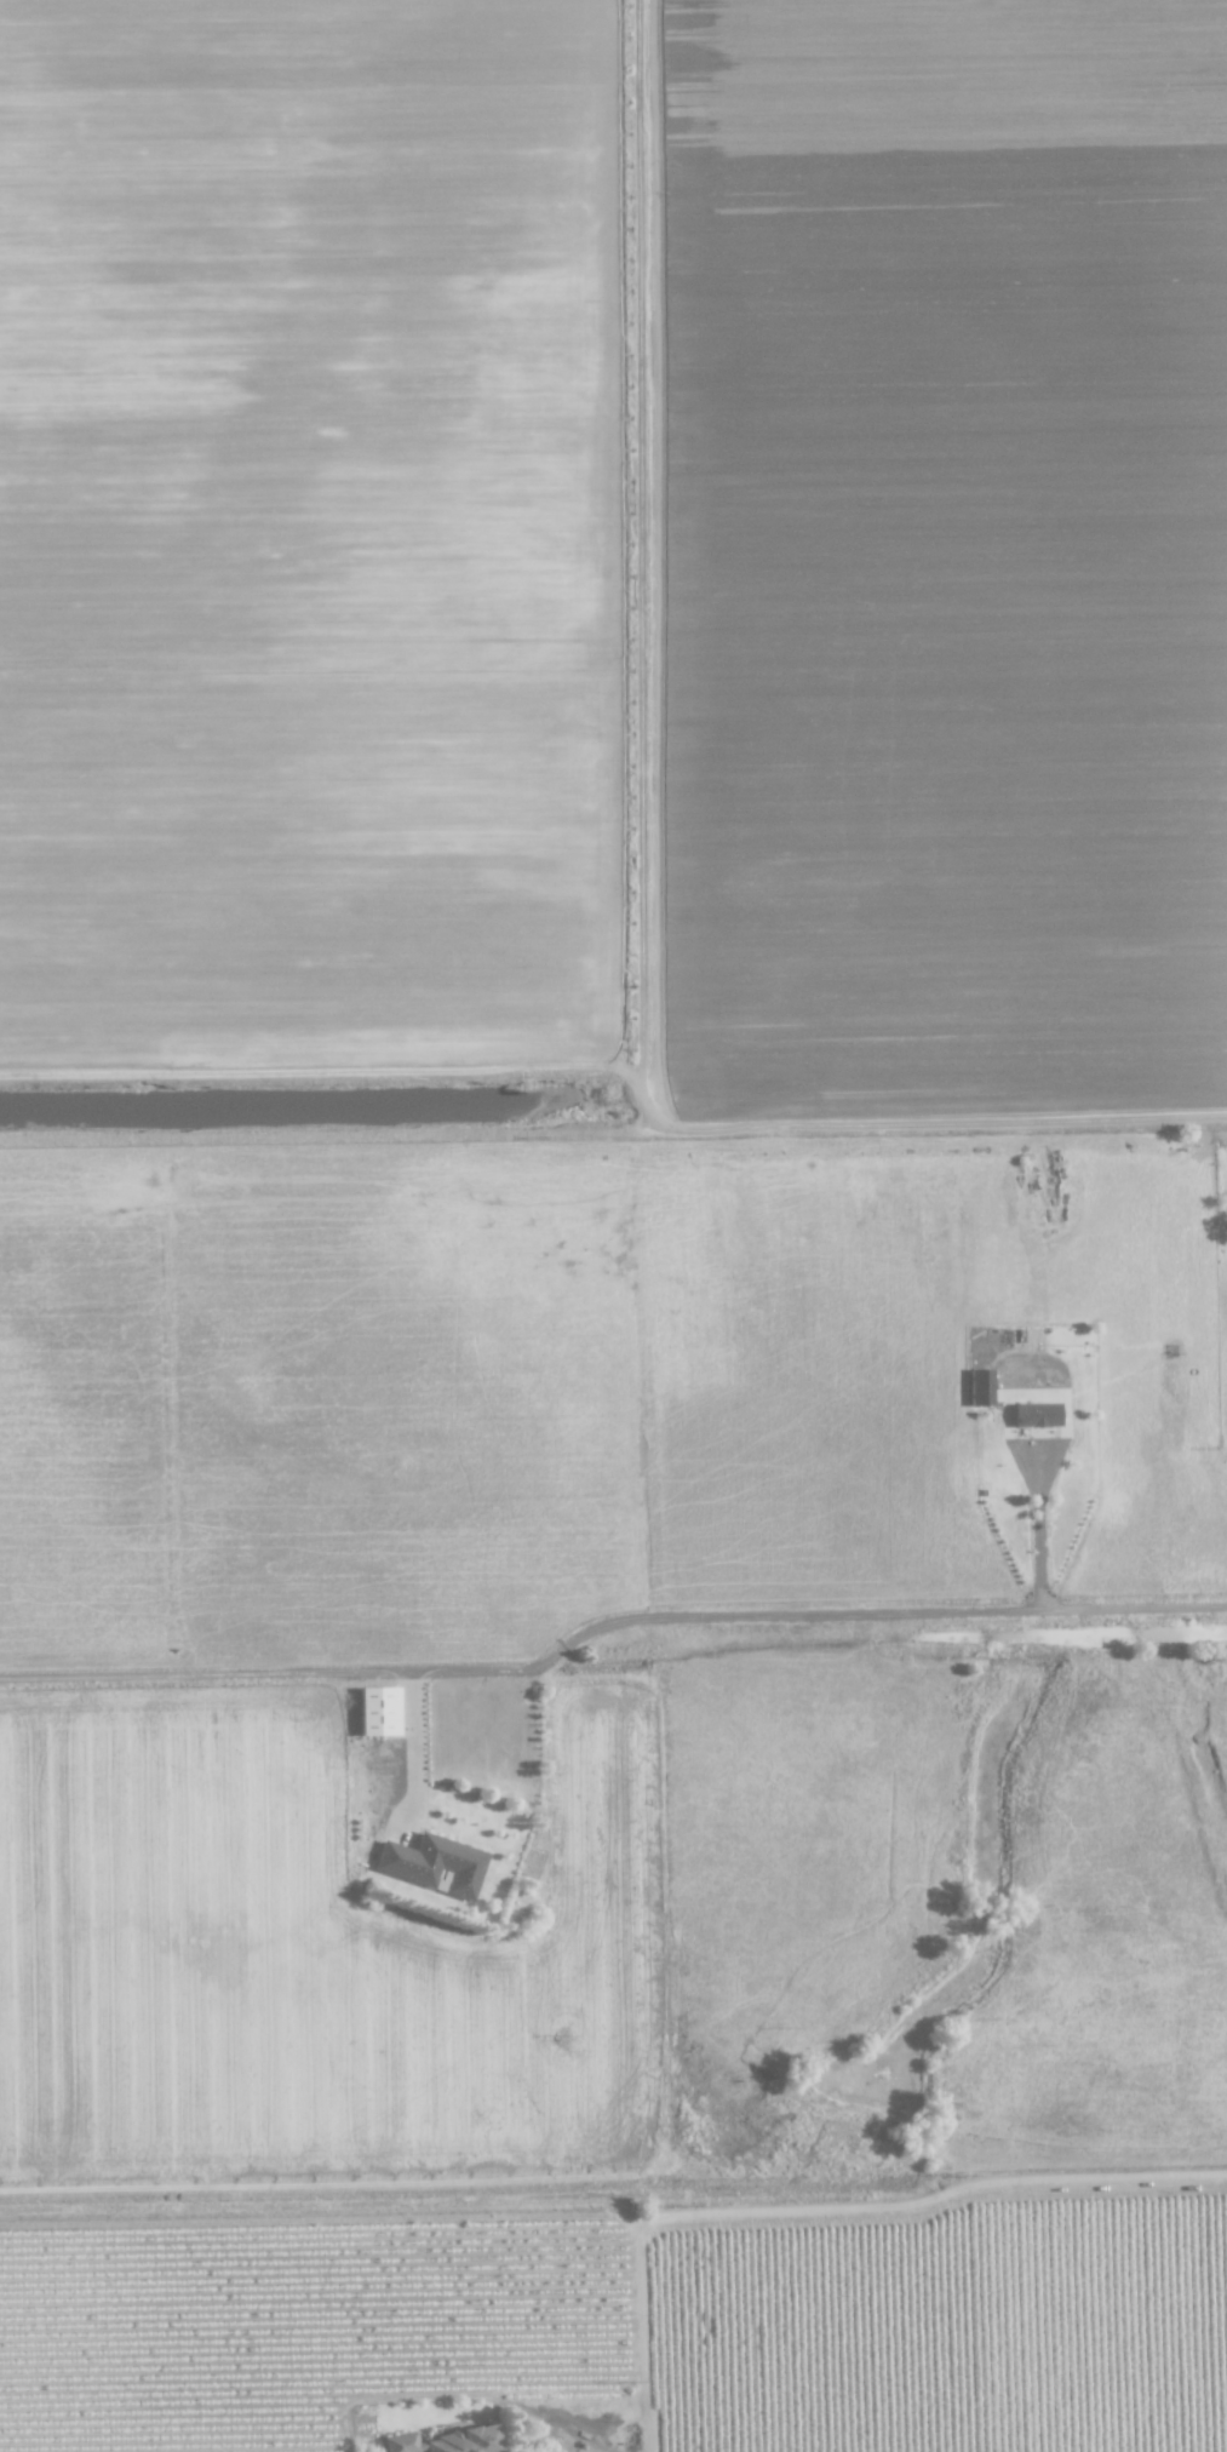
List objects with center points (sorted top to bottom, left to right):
building: (977, 1387)
road: (1033, 1529)
road: (814, 1614)
building: (377, 1712)
road: (415, 1746)
building: (432, 1864)
road: (821, 2207)
building: (443, 2441)

